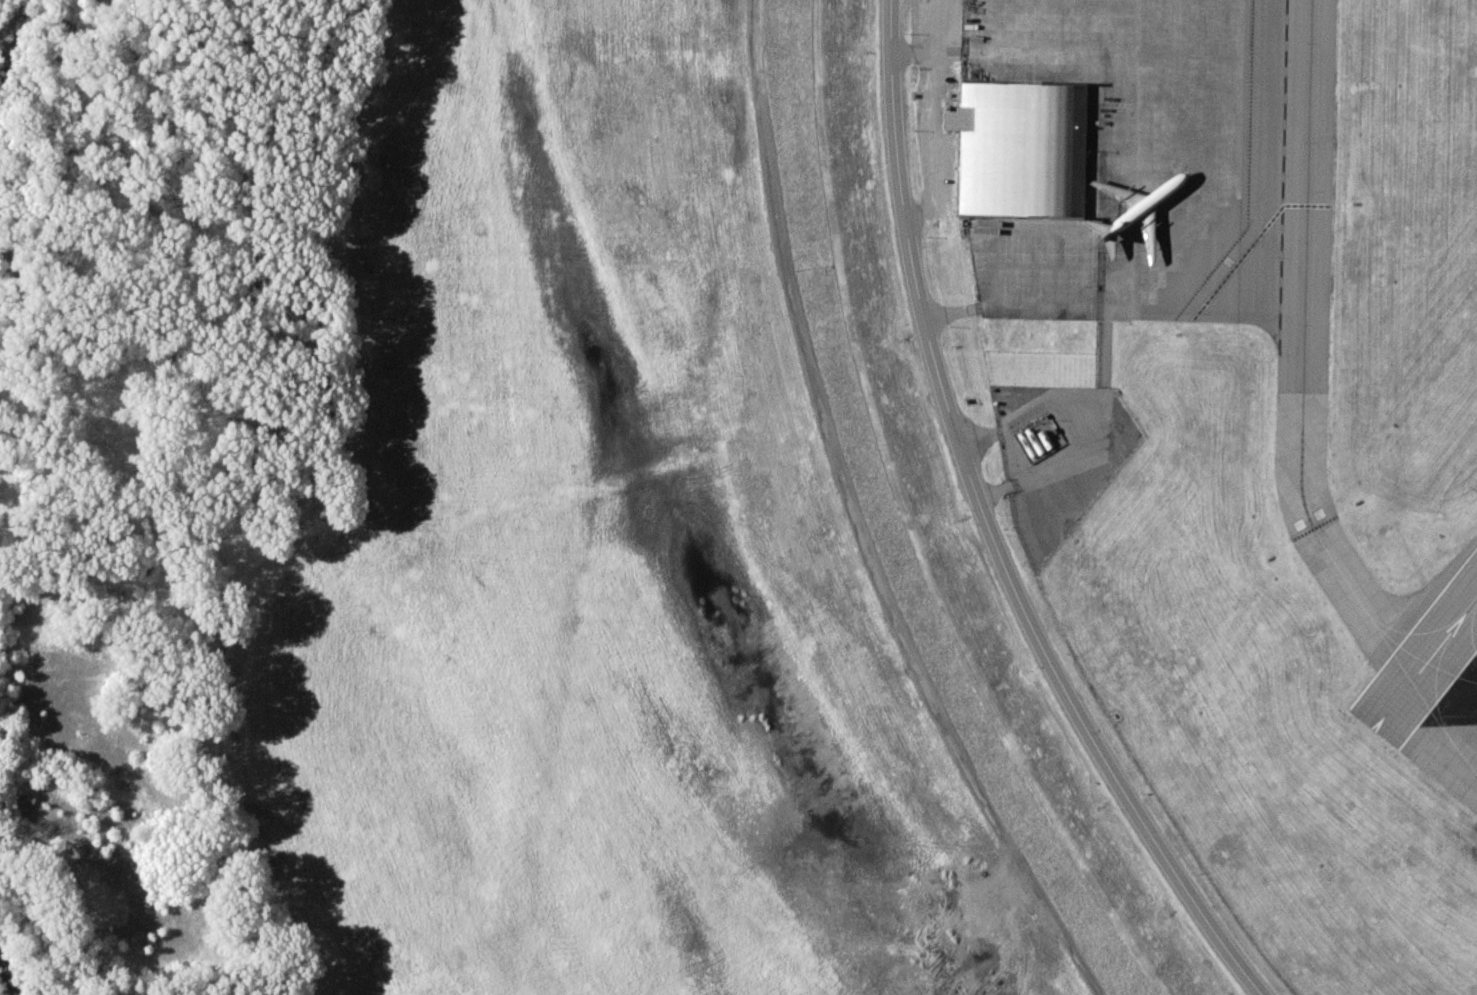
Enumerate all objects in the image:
airport apron: (1164, 141)
building: (1021, 149)
parking lot: (1032, 269)
airport taxiway: (1303, 356)
road: (1029, 413)
airport: (1241, 423)
storage tank: (1045, 438)
storage tank: (1033, 439)
storage tank: (1025, 444)
road: (1098, 448)
road: (856, 521)
road: (992, 528)
airport runway: (1425, 663)
airport taxiway: (1444, 684)
airport taxiway: (1432, 746)

